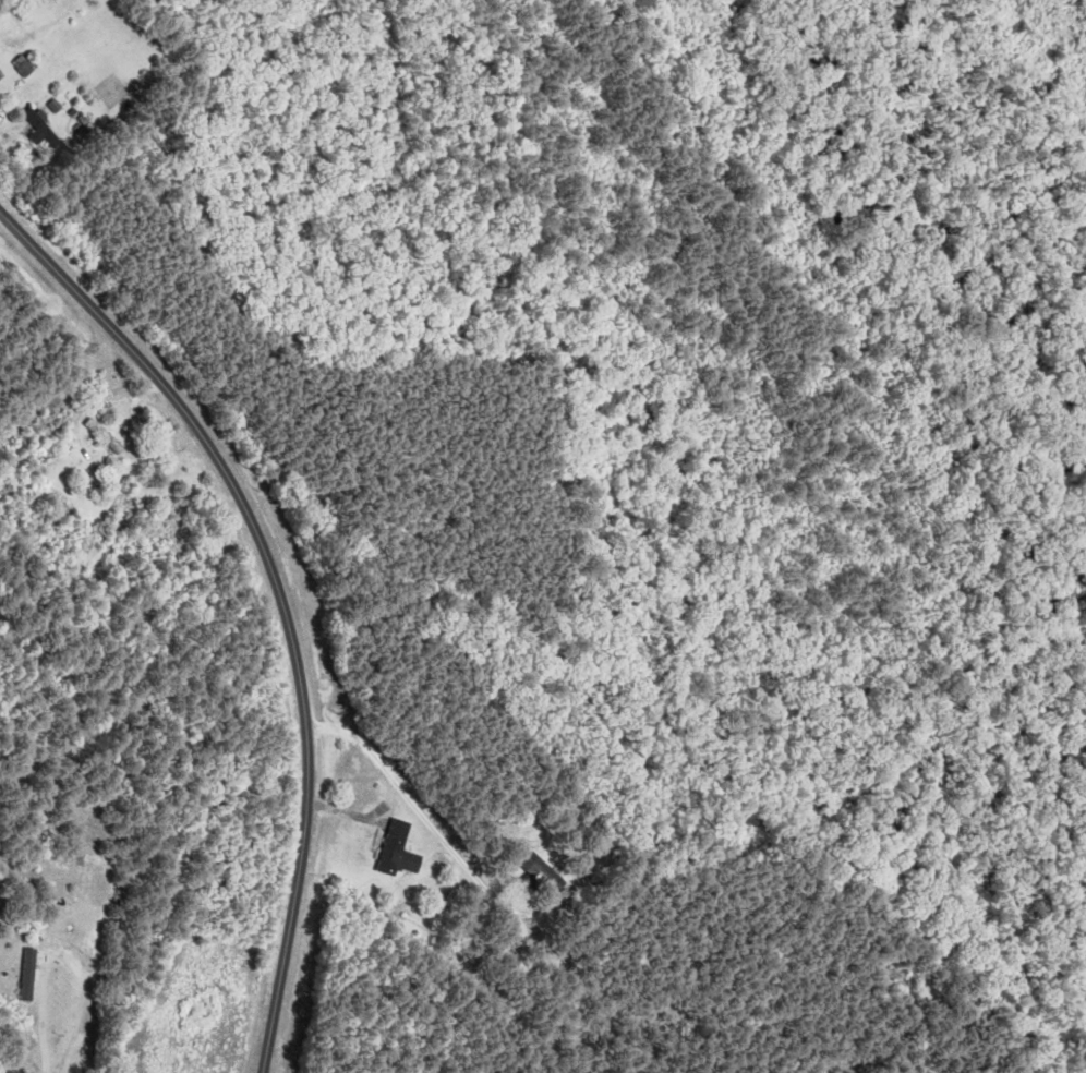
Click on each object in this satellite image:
building: (1, 75)
building: (43, 128)
building: (105, 436)
road: (279, 596)
building: (398, 851)
building: (542, 875)

